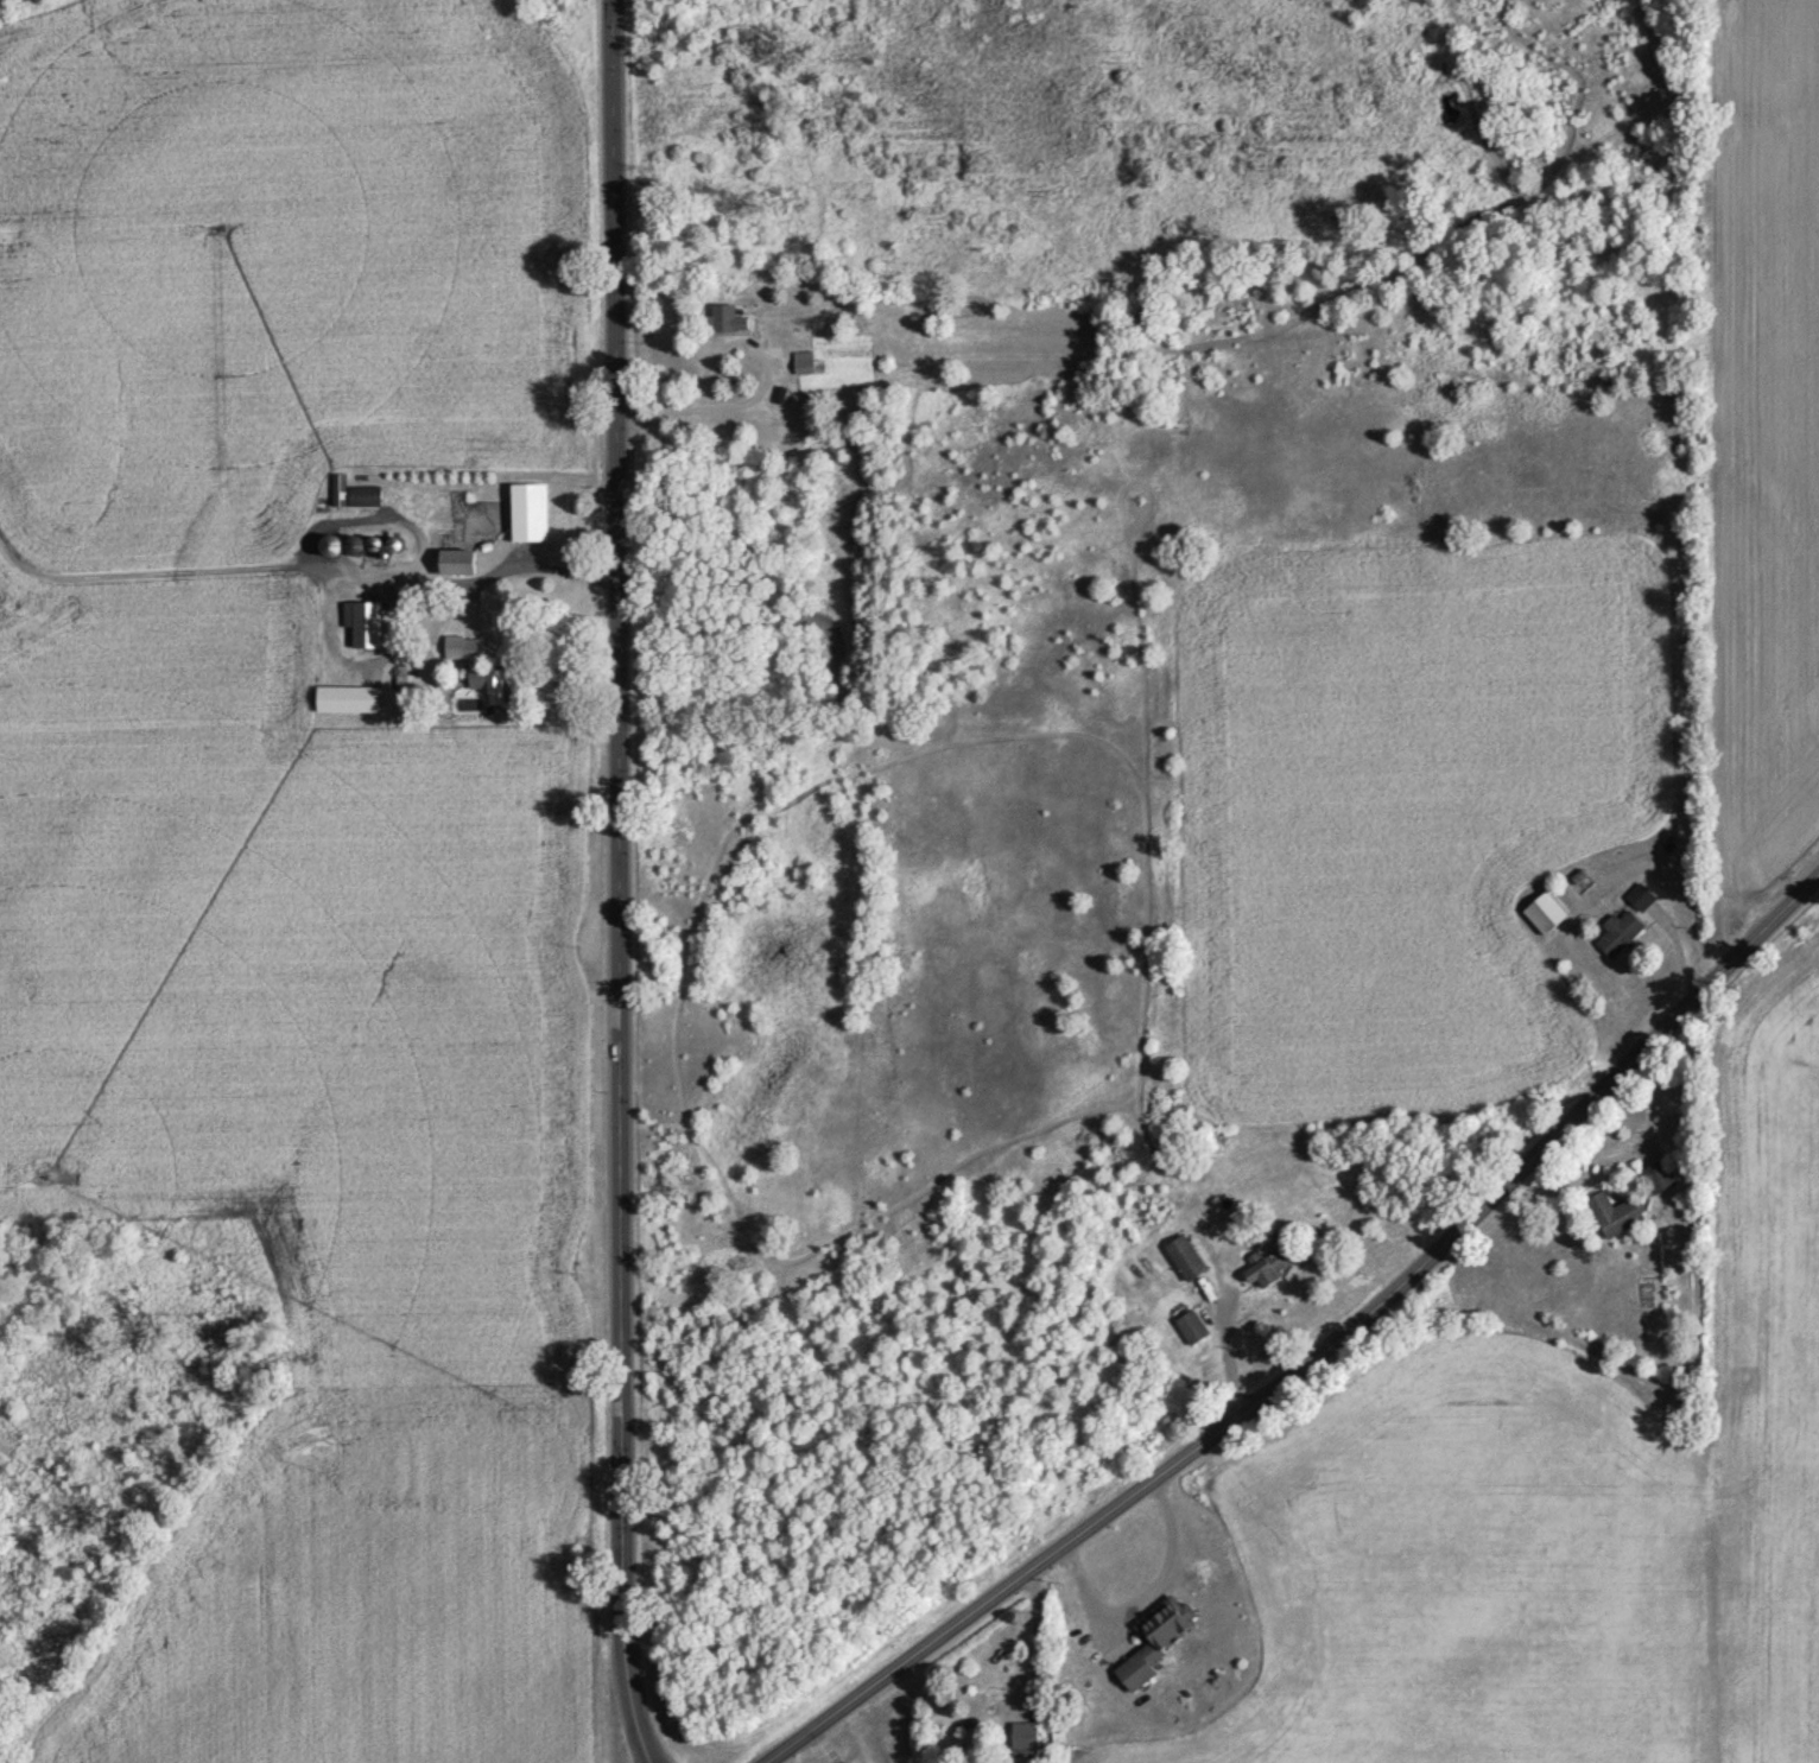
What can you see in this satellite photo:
building: (722, 321)
building: (804, 366)
building: (354, 497)
building: (527, 515)
building: (331, 548)
building: (355, 548)
building: (457, 565)
building: (363, 626)
building: (487, 677)
building: (348, 702)
road: (610, 881)
building: (1640, 900)
building: (1545, 917)
building: (1618, 937)
building: (1655, 1178)
building: (1614, 1216)
building: (1185, 1261)
building: (1265, 1271)
building: (1191, 1331)
road: (1319, 1350)
building: (1155, 1643)
building: (1025, 1744)

